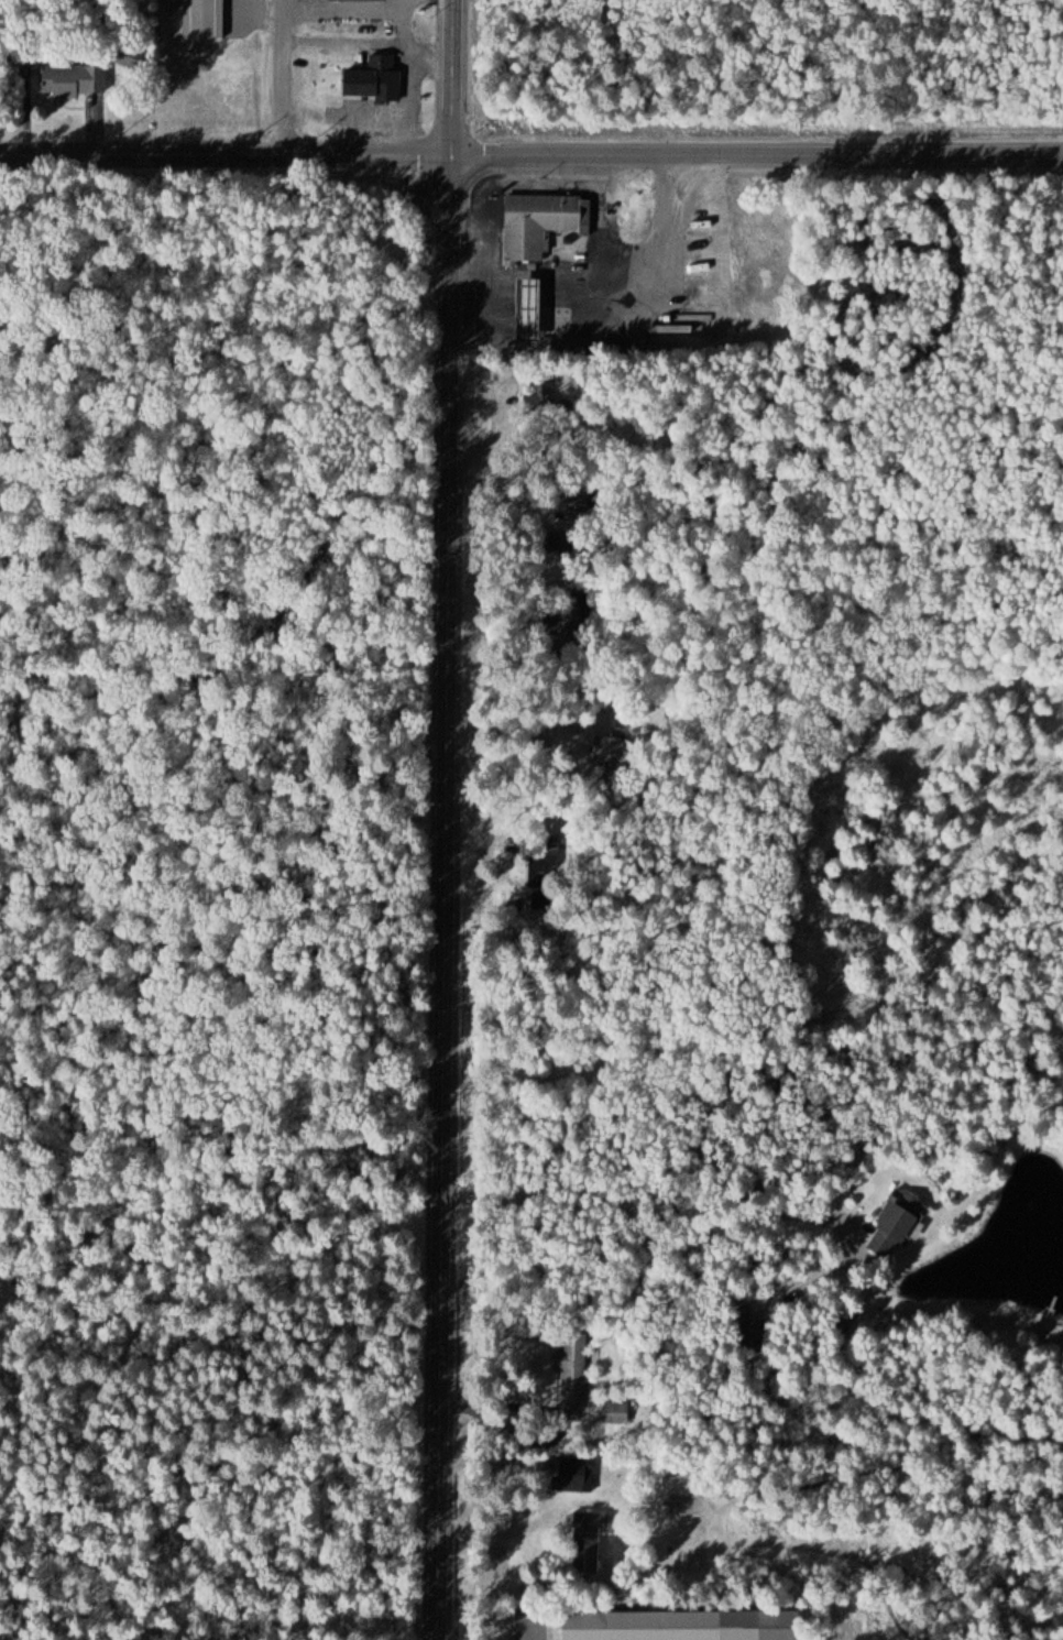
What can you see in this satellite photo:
building: (359, 0)
building: (205, 19)
building: (130, 57)
road: (448, 76)
road: (282, 77)
building: (374, 78)
building: (76, 80)
road: (755, 151)
road: (223, 154)
building: (536, 220)
building: (529, 307)
road: (438, 895)
building: (902, 1216)
building: (883, 1246)
building: (755, 1331)
building: (576, 1368)
building: (616, 1412)
building: (577, 1475)
building: (589, 1541)
building: (664, 1625)

